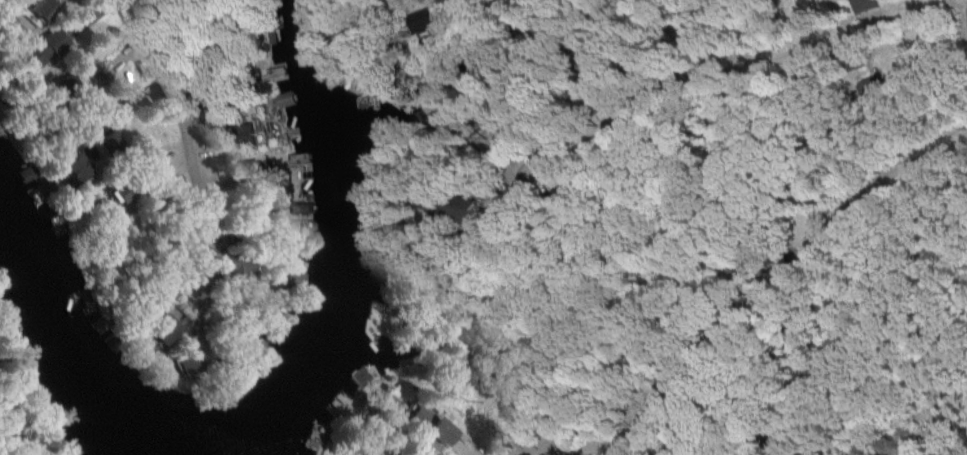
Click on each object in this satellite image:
building: (867, 6)
building: (43, 8)
road: (840, 15)
building: (45, 48)
road: (700, 74)
building: (68, 86)
road: (182, 145)
building: (77, 168)
building: (259, 172)
building: (431, 203)
building: (237, 268)
road: (779, 280)
building: (167, 330)
road: (940, 394)
building: (432, 426)
road: (588, 449)
building: (361, 453)

